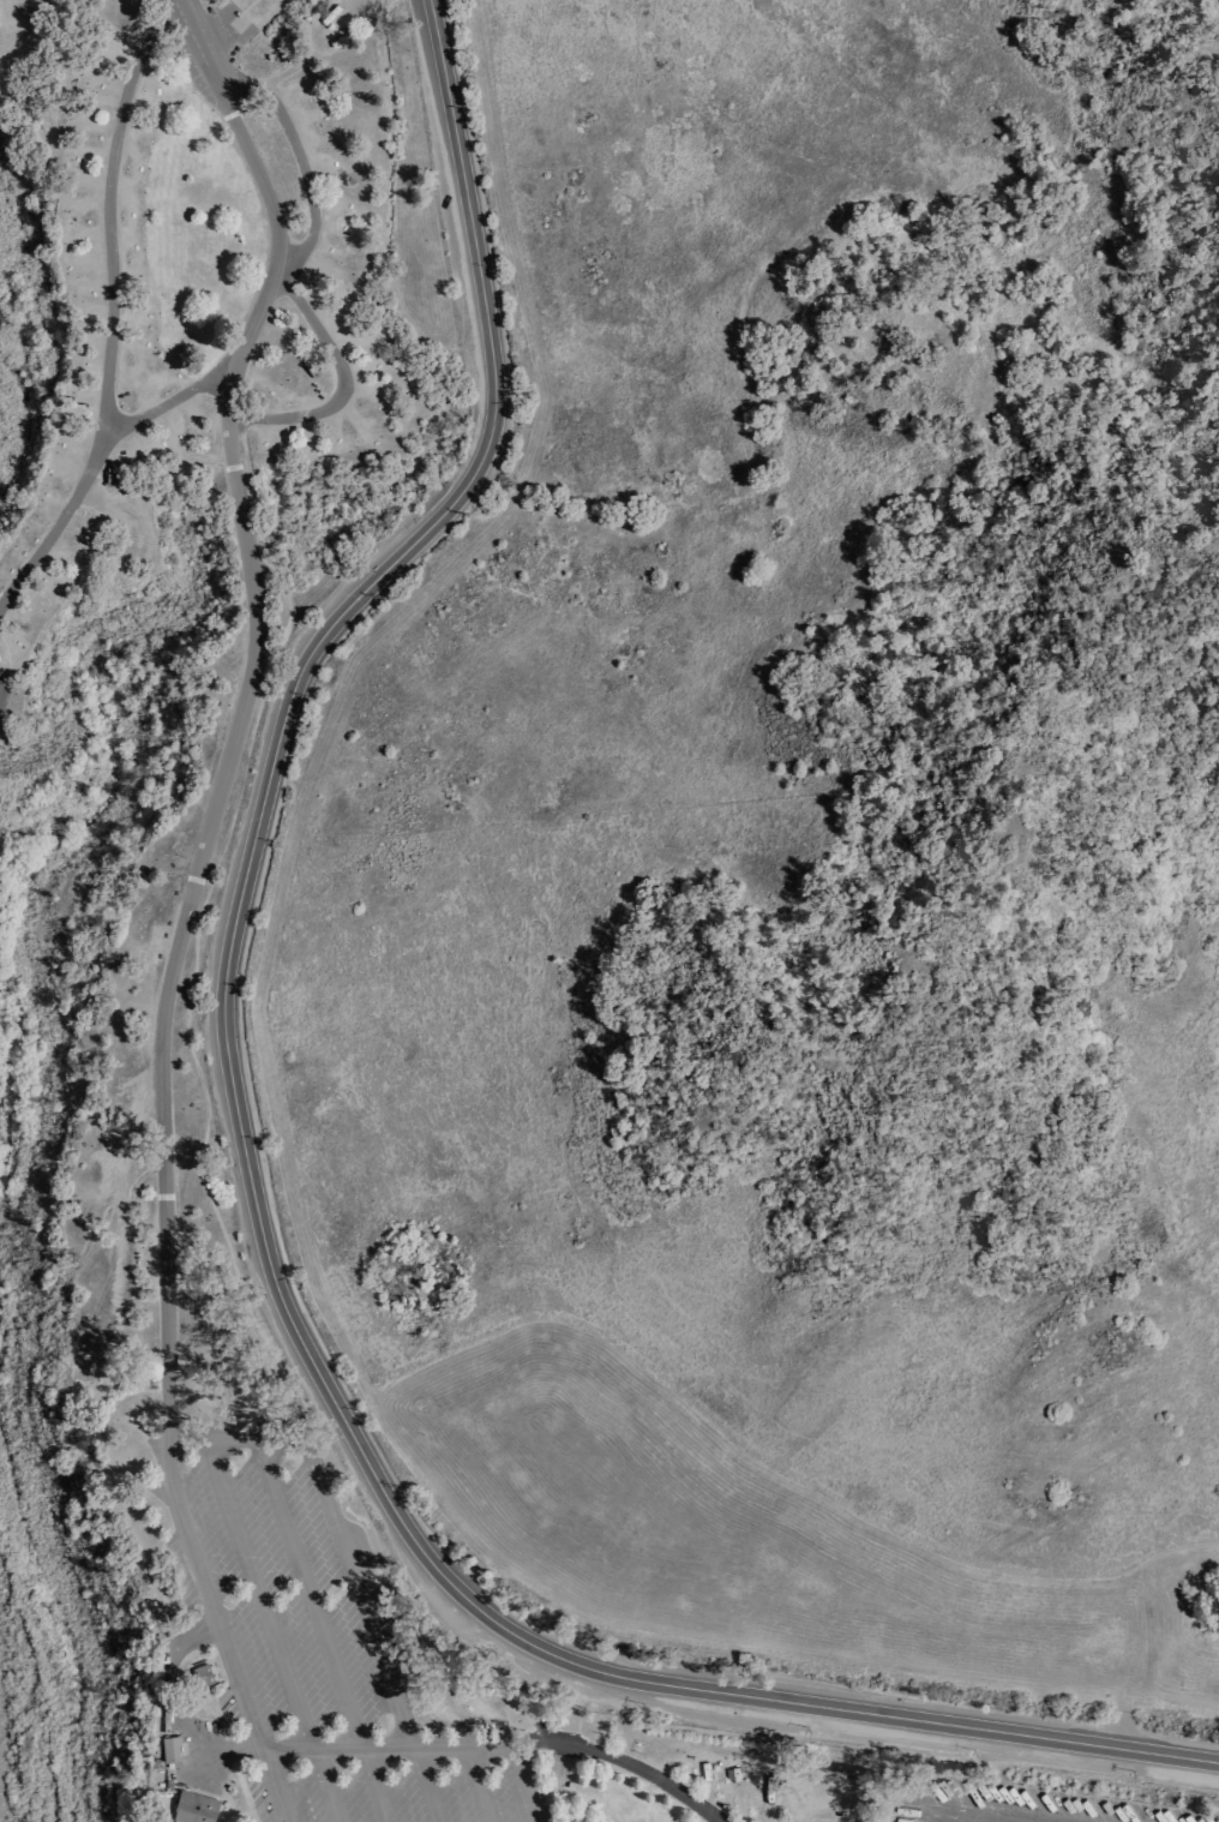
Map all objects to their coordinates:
road: (432, 10)
road: (202, 42)
building: (97, 102)
road: (286, 254)
road: (114, 308)
road: (178, 385)
road: (314, 406)
road: (785, 436)
road: (494, 437)
park: (127, 870)
road: (187, 909)
road: (185, 1035)
road: (239, 1445)
road: (442, 1572)
road: (313, 1596)
road: (259, 1599)
road: (362, 1602)
road: (216, 1629)
road: (413, 1632)
parking lot: (313, 1646)
road: (222, 1668)
building: (200, 1676)
road: (176, 1703)
road: (575, 1706)
road: (221, 1730)
road: (534, 1743)
building: (169, 1748)
road: (379, 1748)
road: (648, 1774)
road: (520, 1782)
road: (474, 1784)
road: (374, 1785)
road: (430, 1785)
road: (323, 1786)
parking lot: (1019, 1803)
building: (192, 1808)
road: (238, 1817)
building: (577, 1820)
road: (582, 1820)

